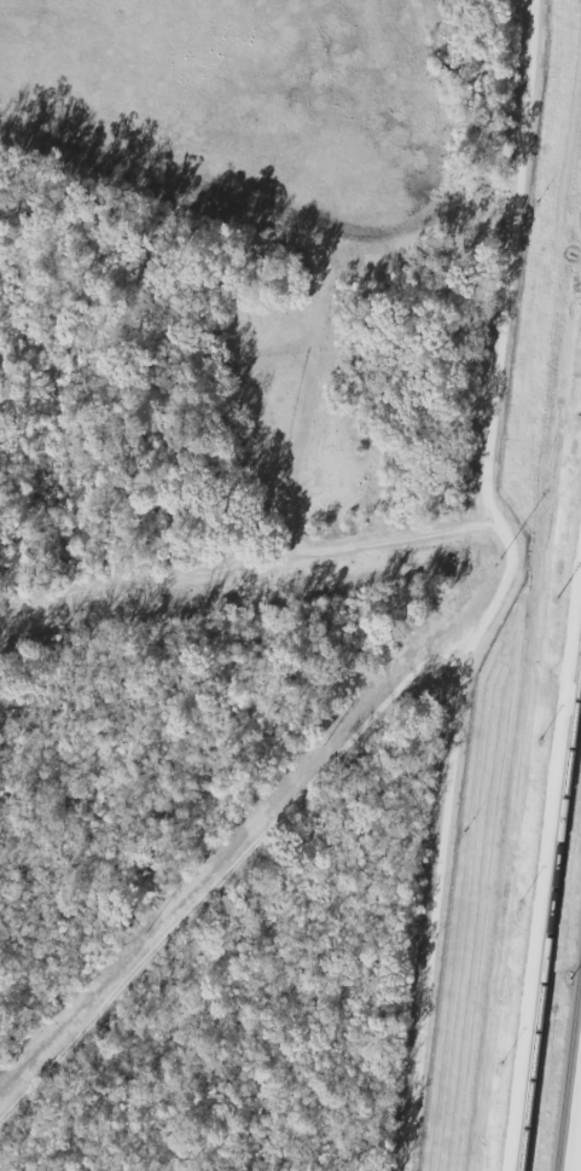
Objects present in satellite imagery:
road: (249, 567)
road: (504, 586)
road: (228, 869)
railway: (550, 910)
railway: (567, 1057)

